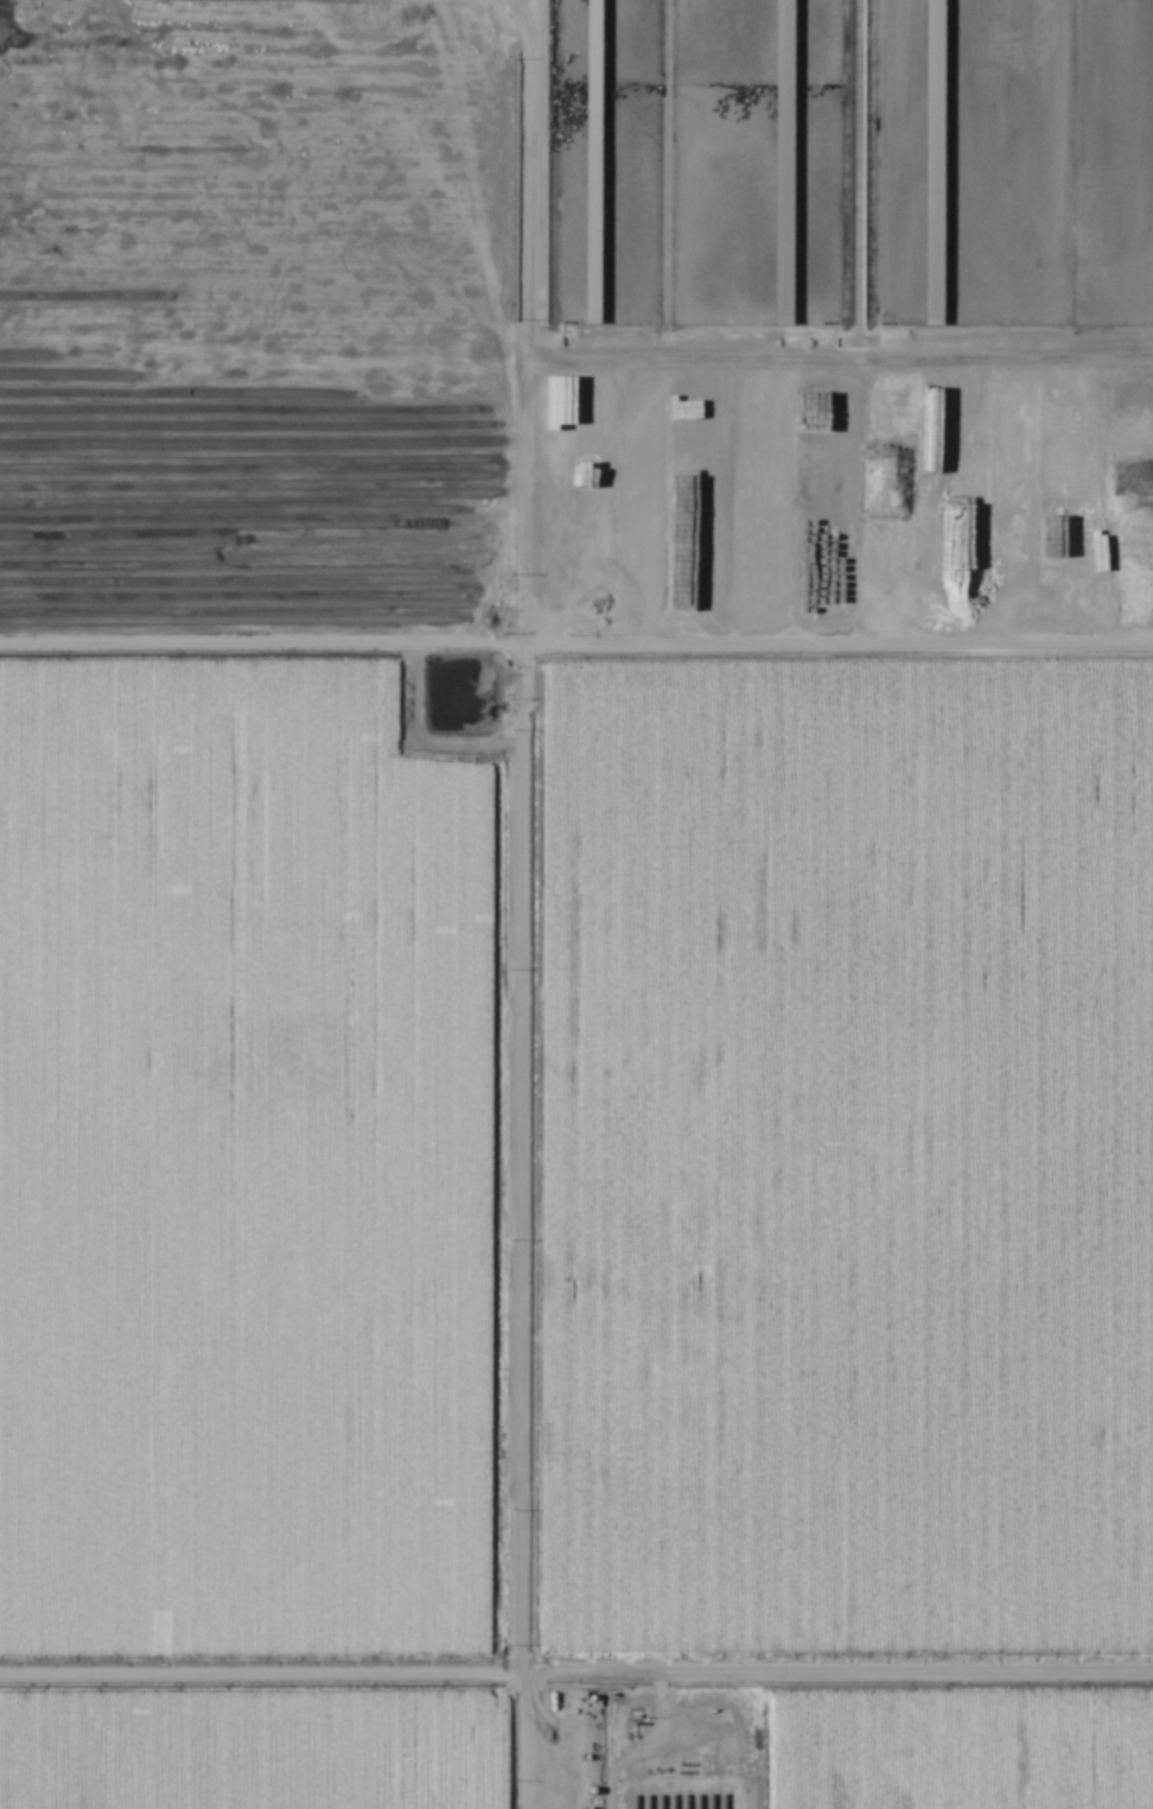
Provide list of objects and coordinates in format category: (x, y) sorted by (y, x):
building: (936, 231)
building: (593, 279)
building: (931, 582)
building: (554, 598)
road: (576, 656)
road: (518, 1233)
road: (576, 1674)

